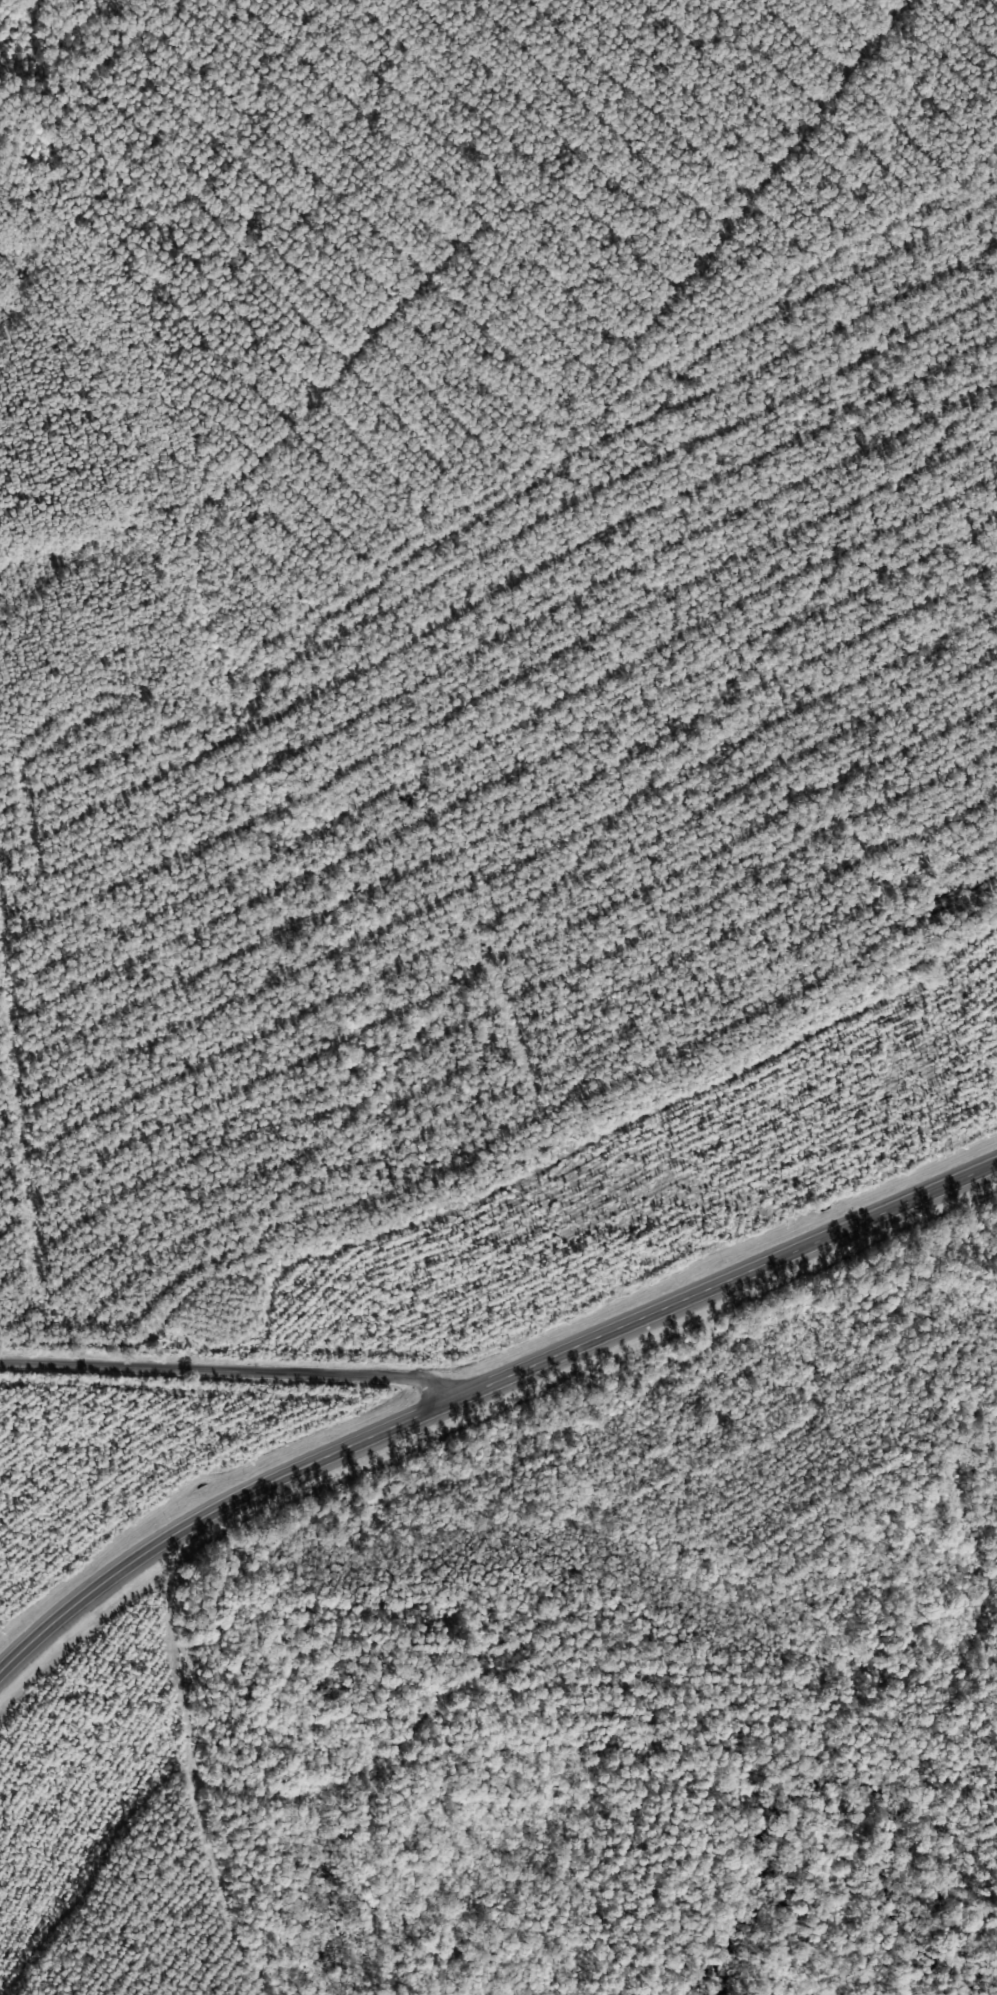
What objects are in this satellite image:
road: (486, 1389)
road: (238, 1409)

